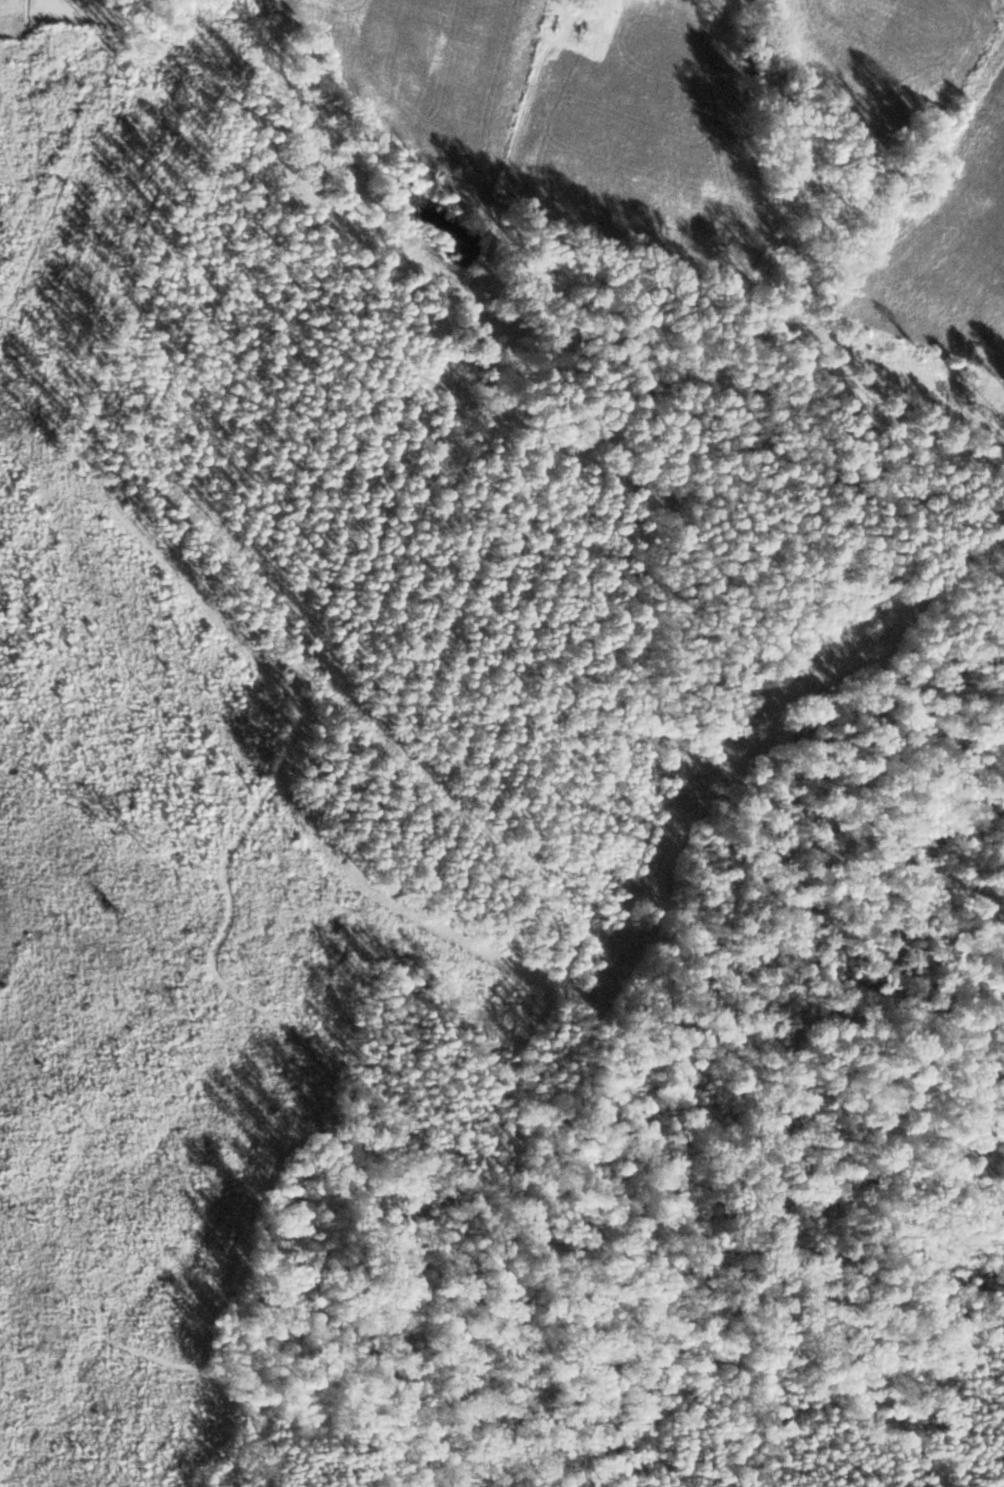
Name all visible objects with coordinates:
building: (584, 33)

